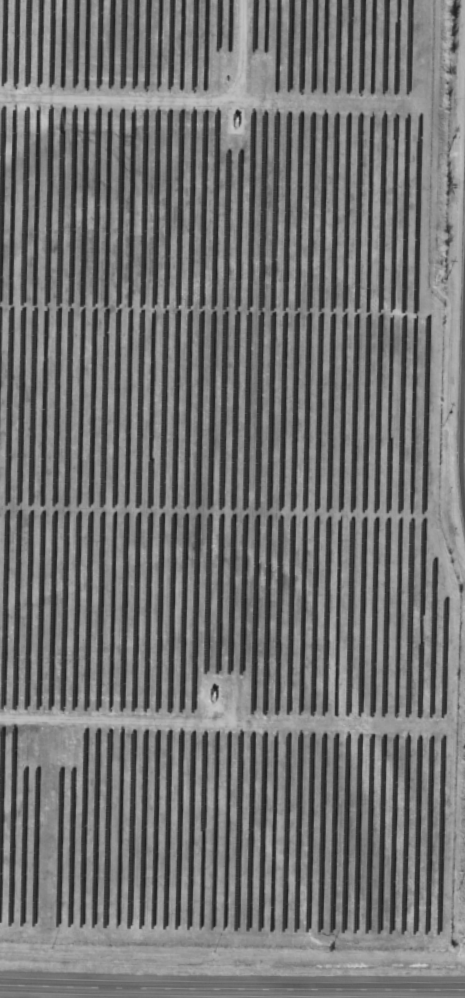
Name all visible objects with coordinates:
road: (463, 427)
solar farm: (213, 458)
road: (232, 985)

